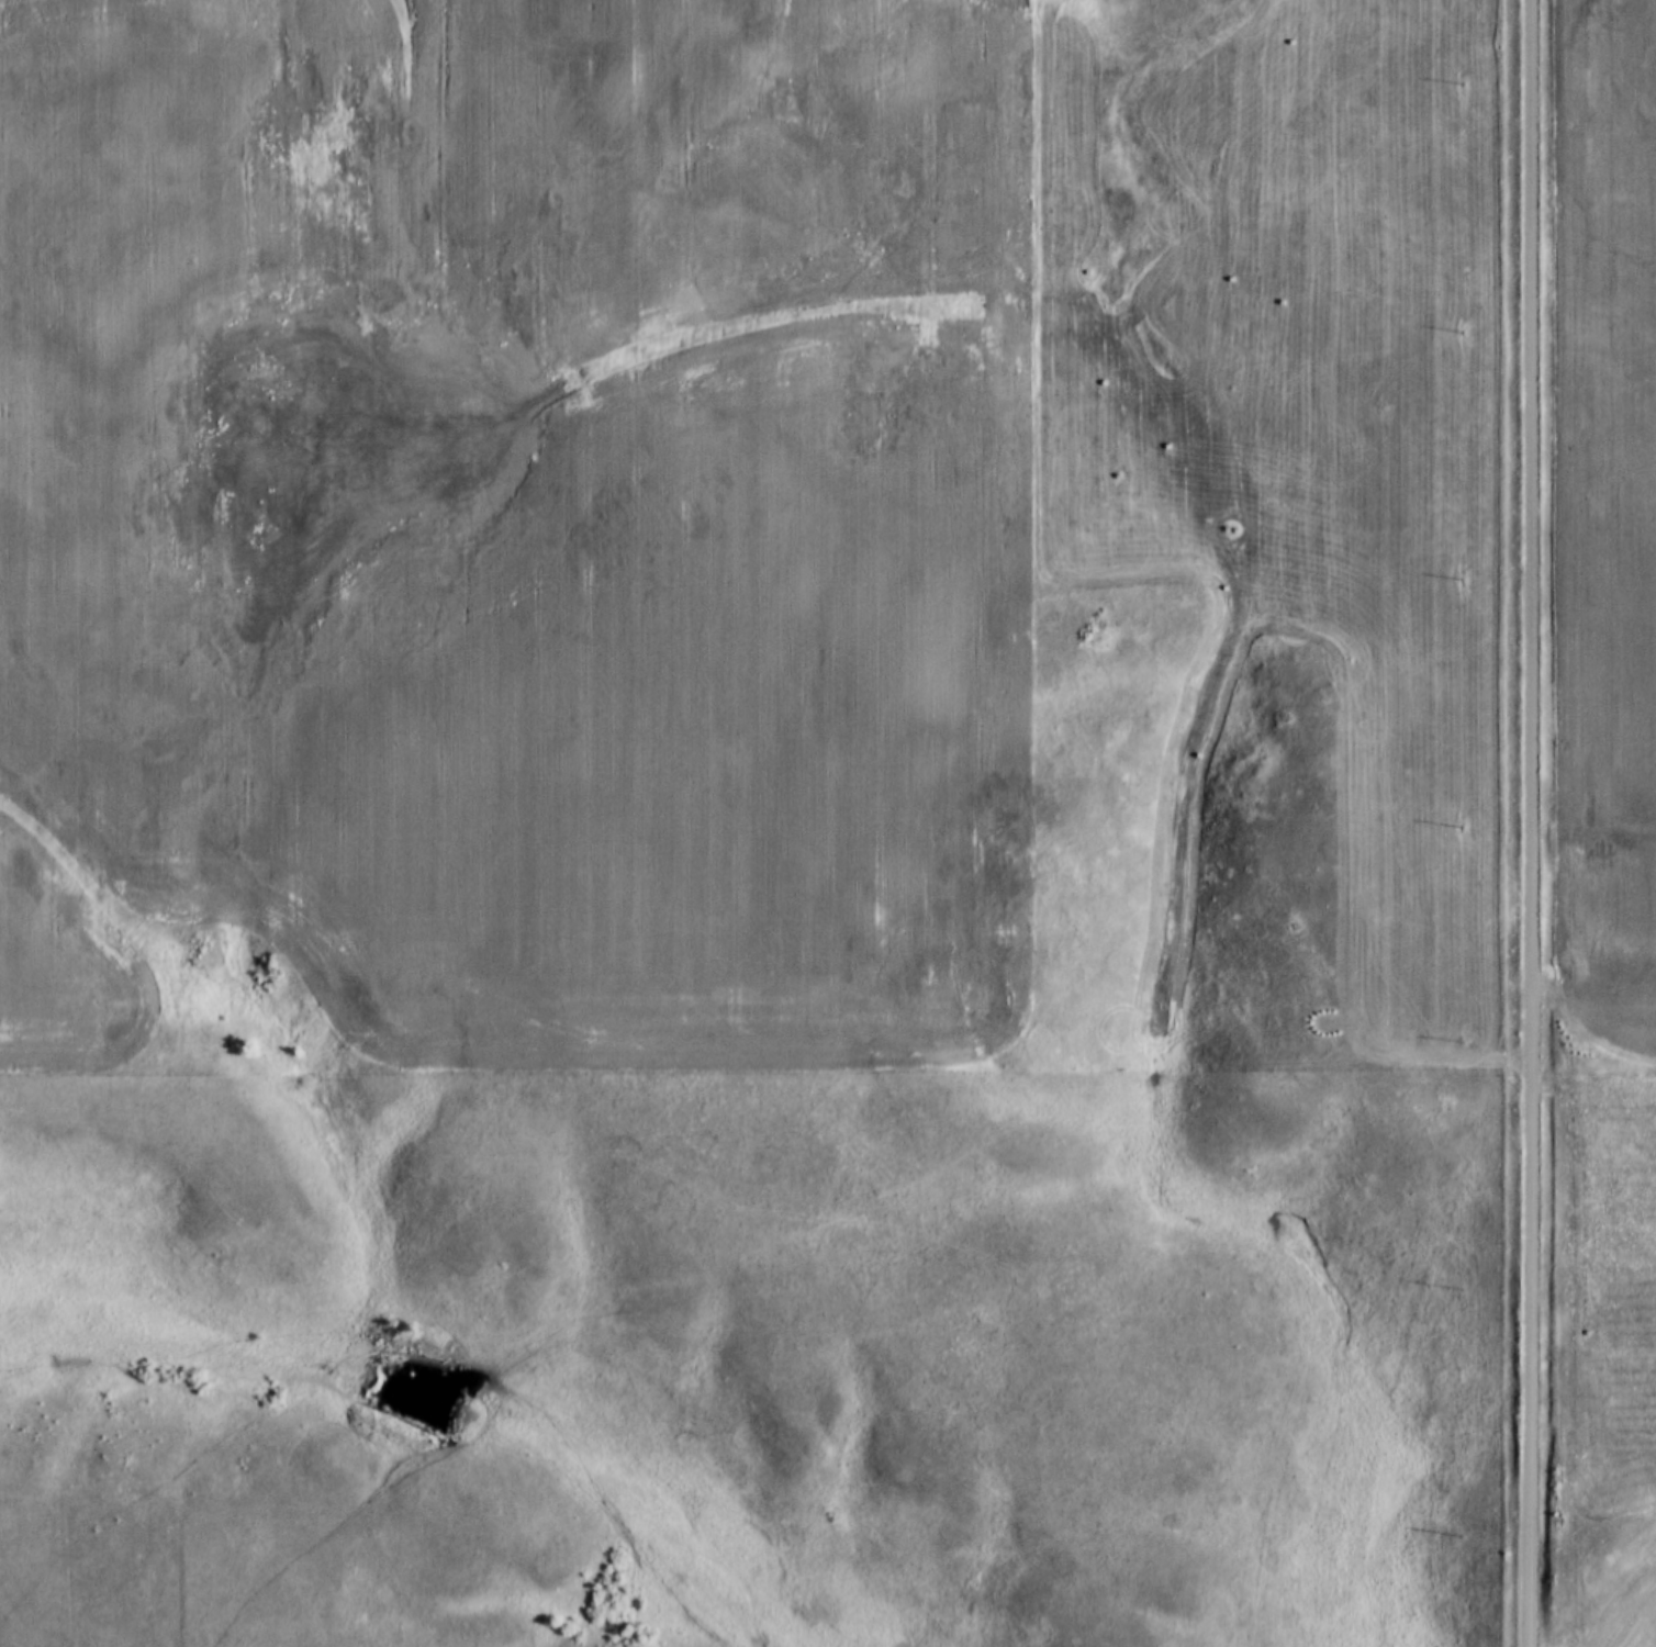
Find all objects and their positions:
road: (1532, 824)
road: (1591, 1024)

